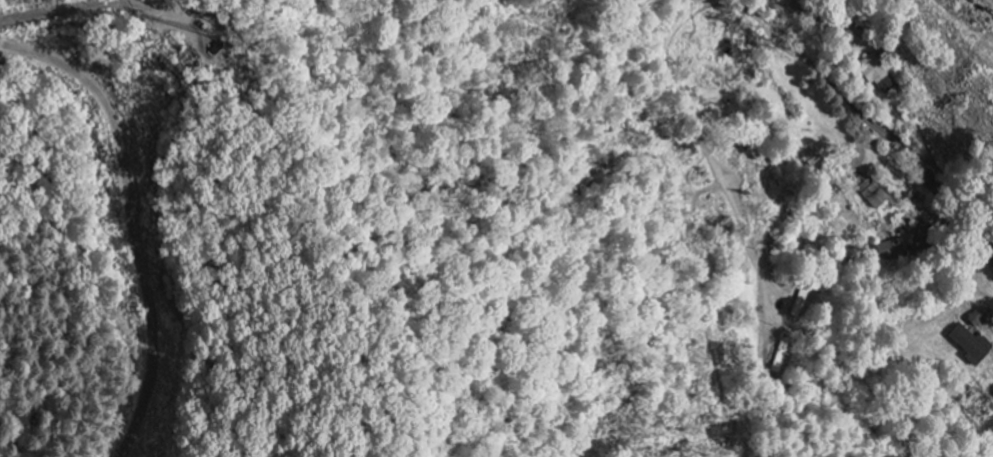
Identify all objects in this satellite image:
road: (754, 13)
building: (810, 158)
building: (871, 195)
road: (974, 195)
building: (976, 318)
building: (971, 345)

